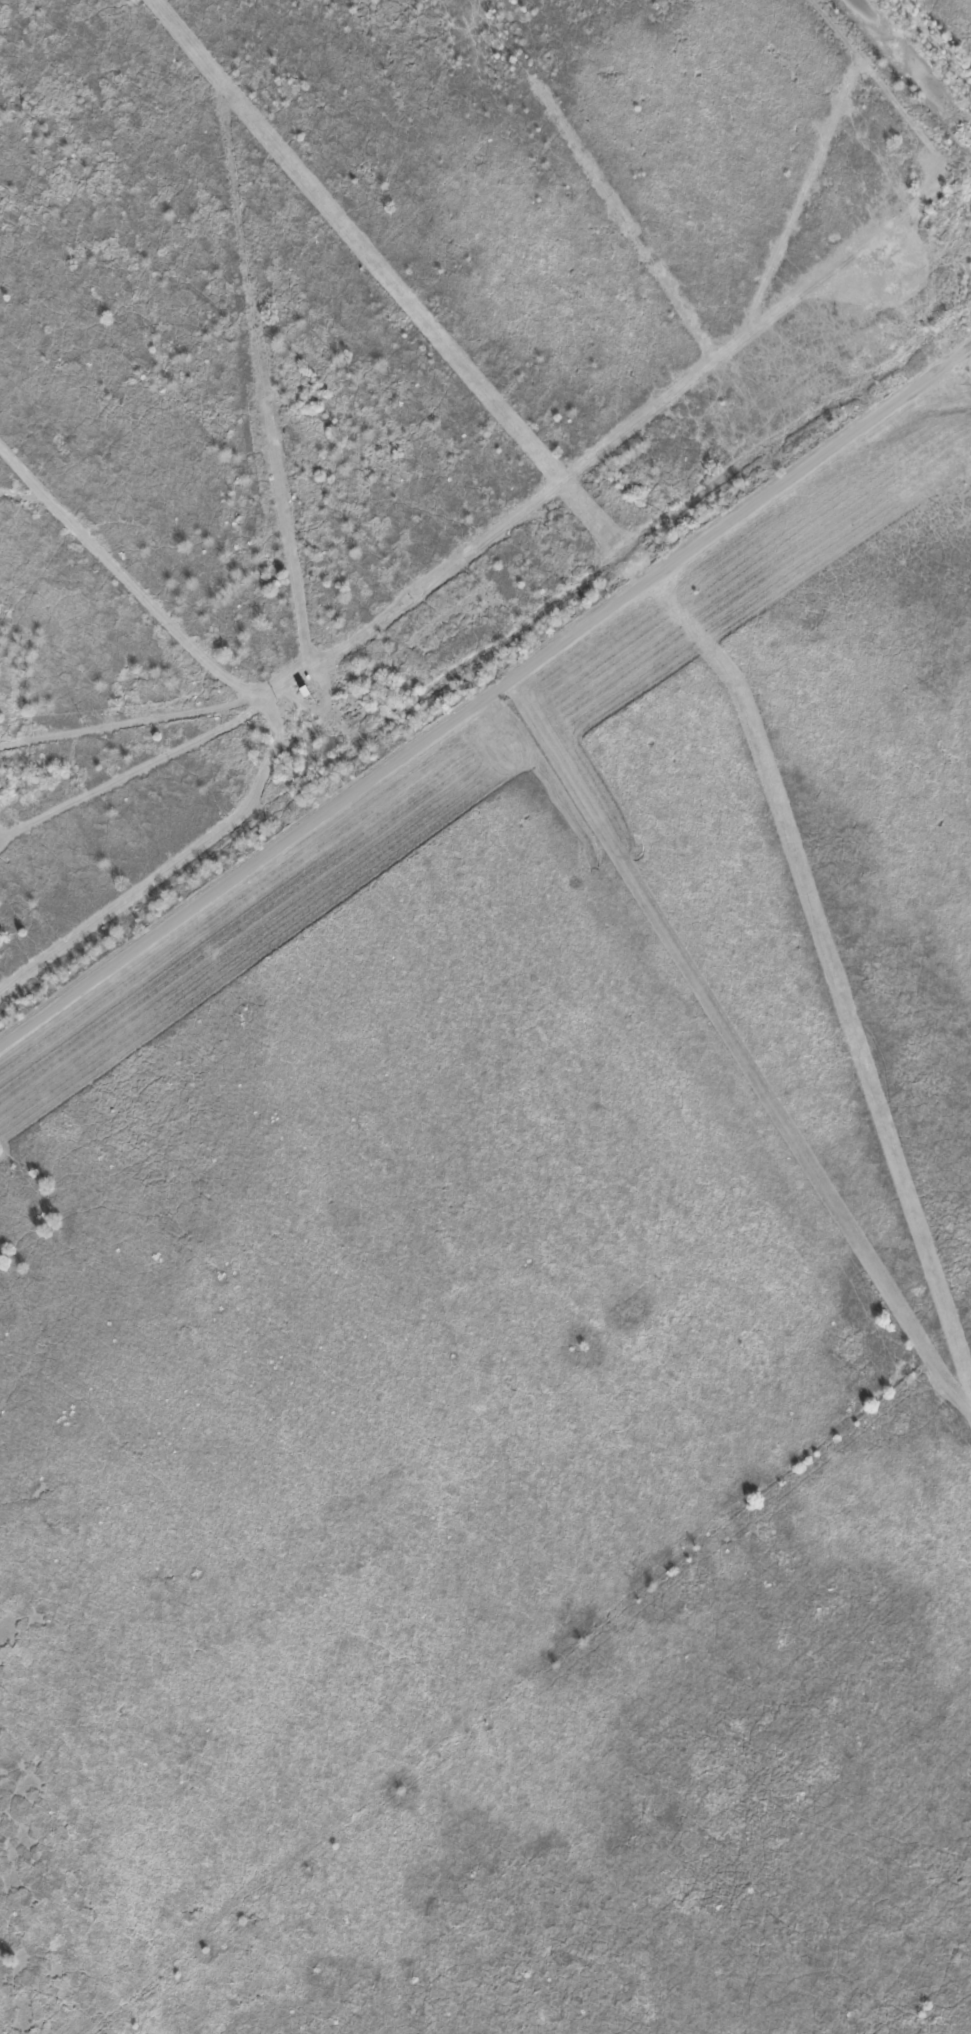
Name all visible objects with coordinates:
road: (484, 696)

